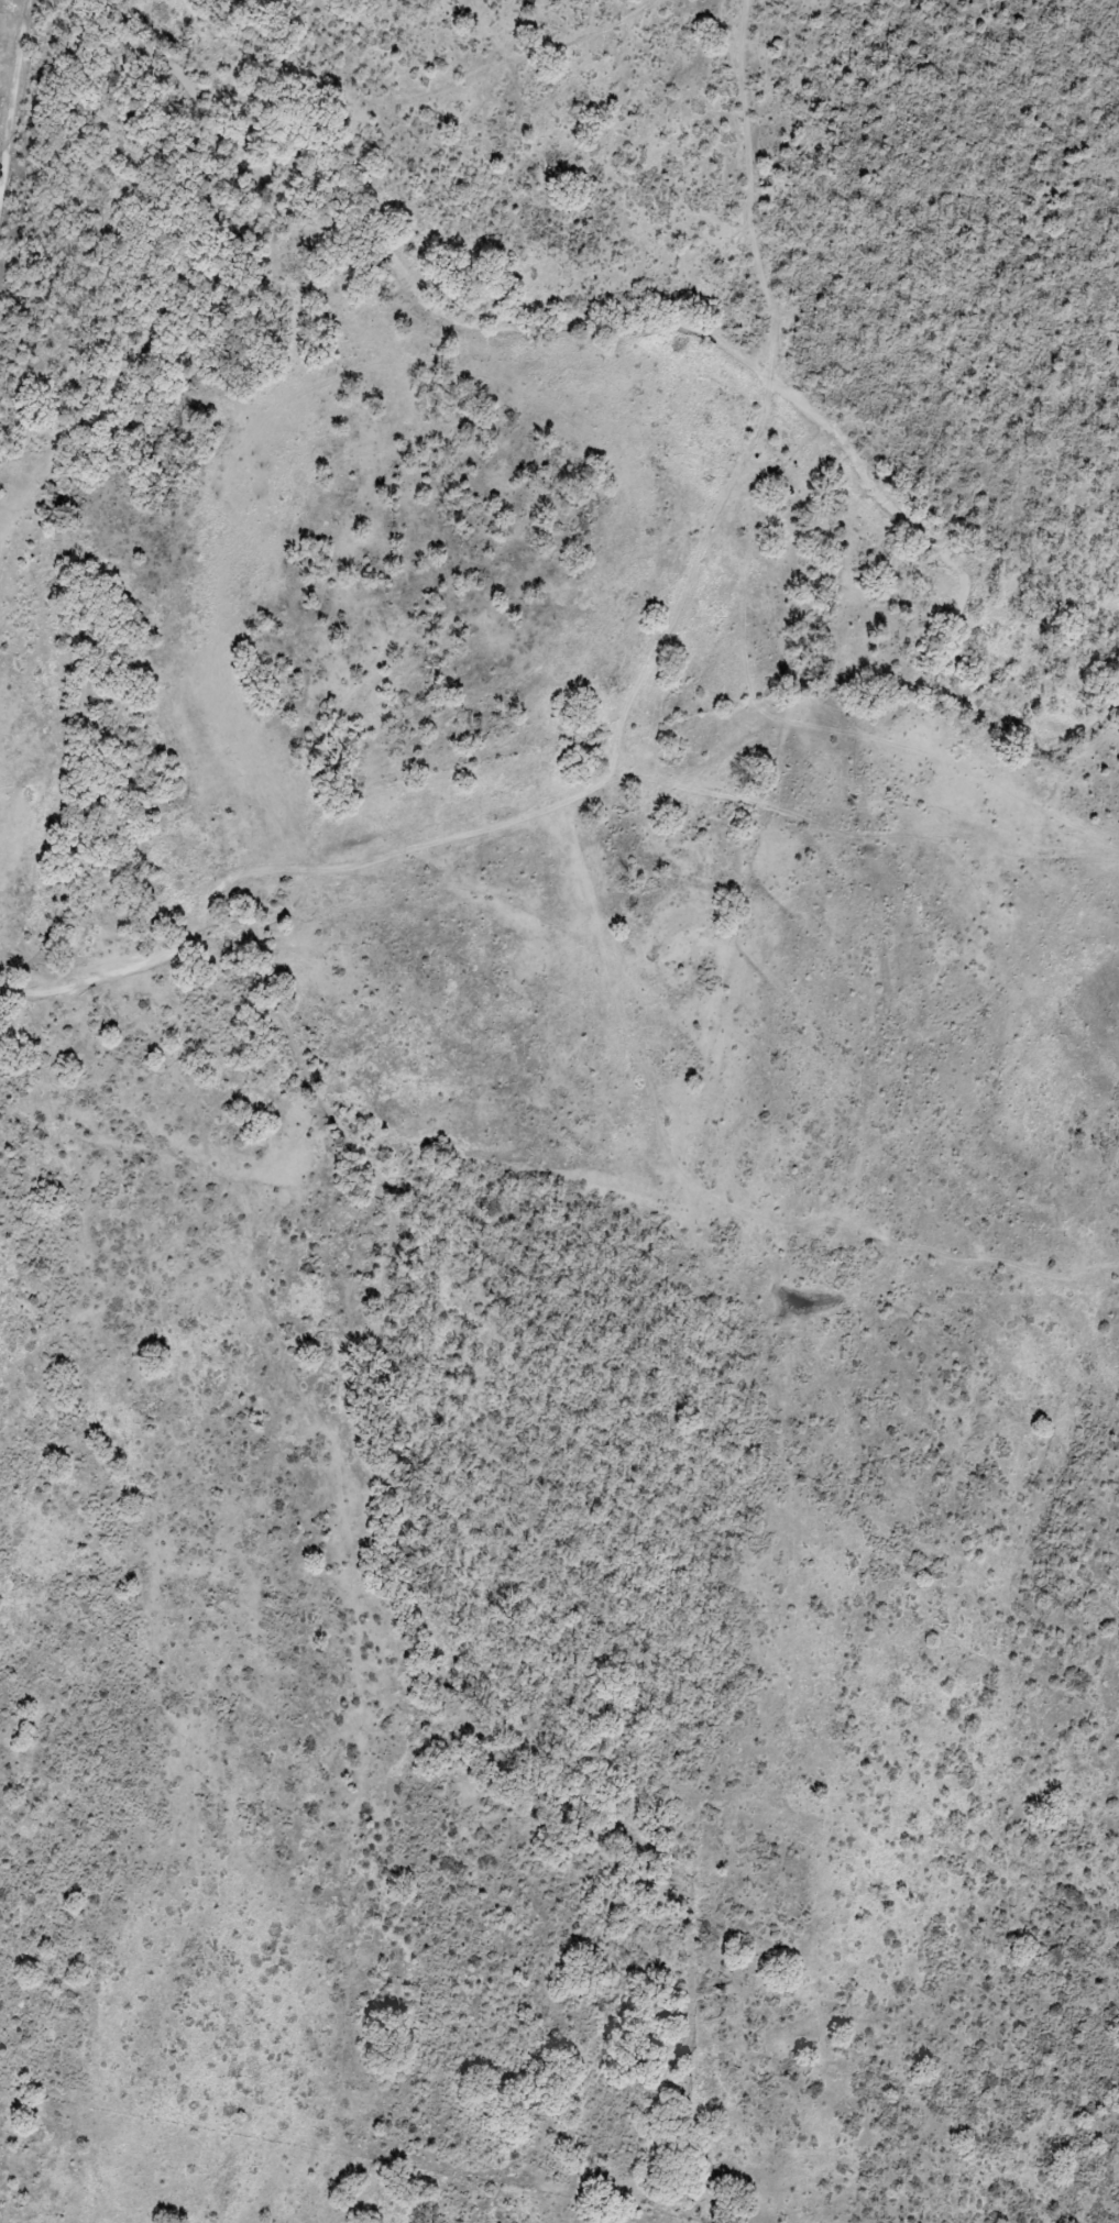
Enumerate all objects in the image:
road: (625, 706)

